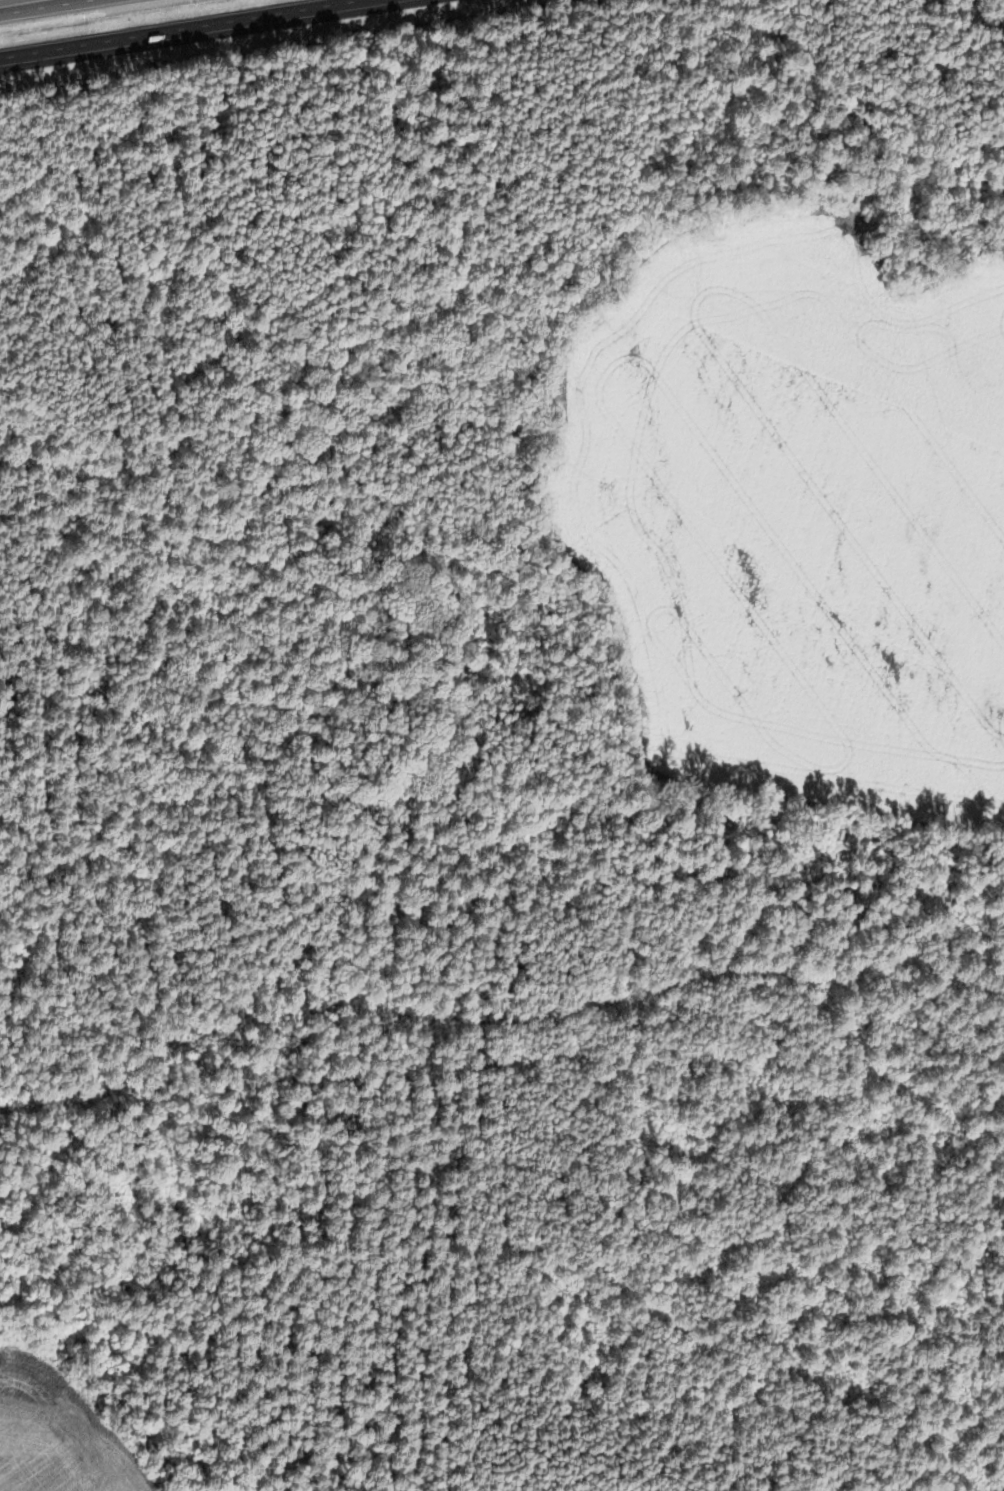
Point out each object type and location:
road: (24, 3)
road: (198, 32)

